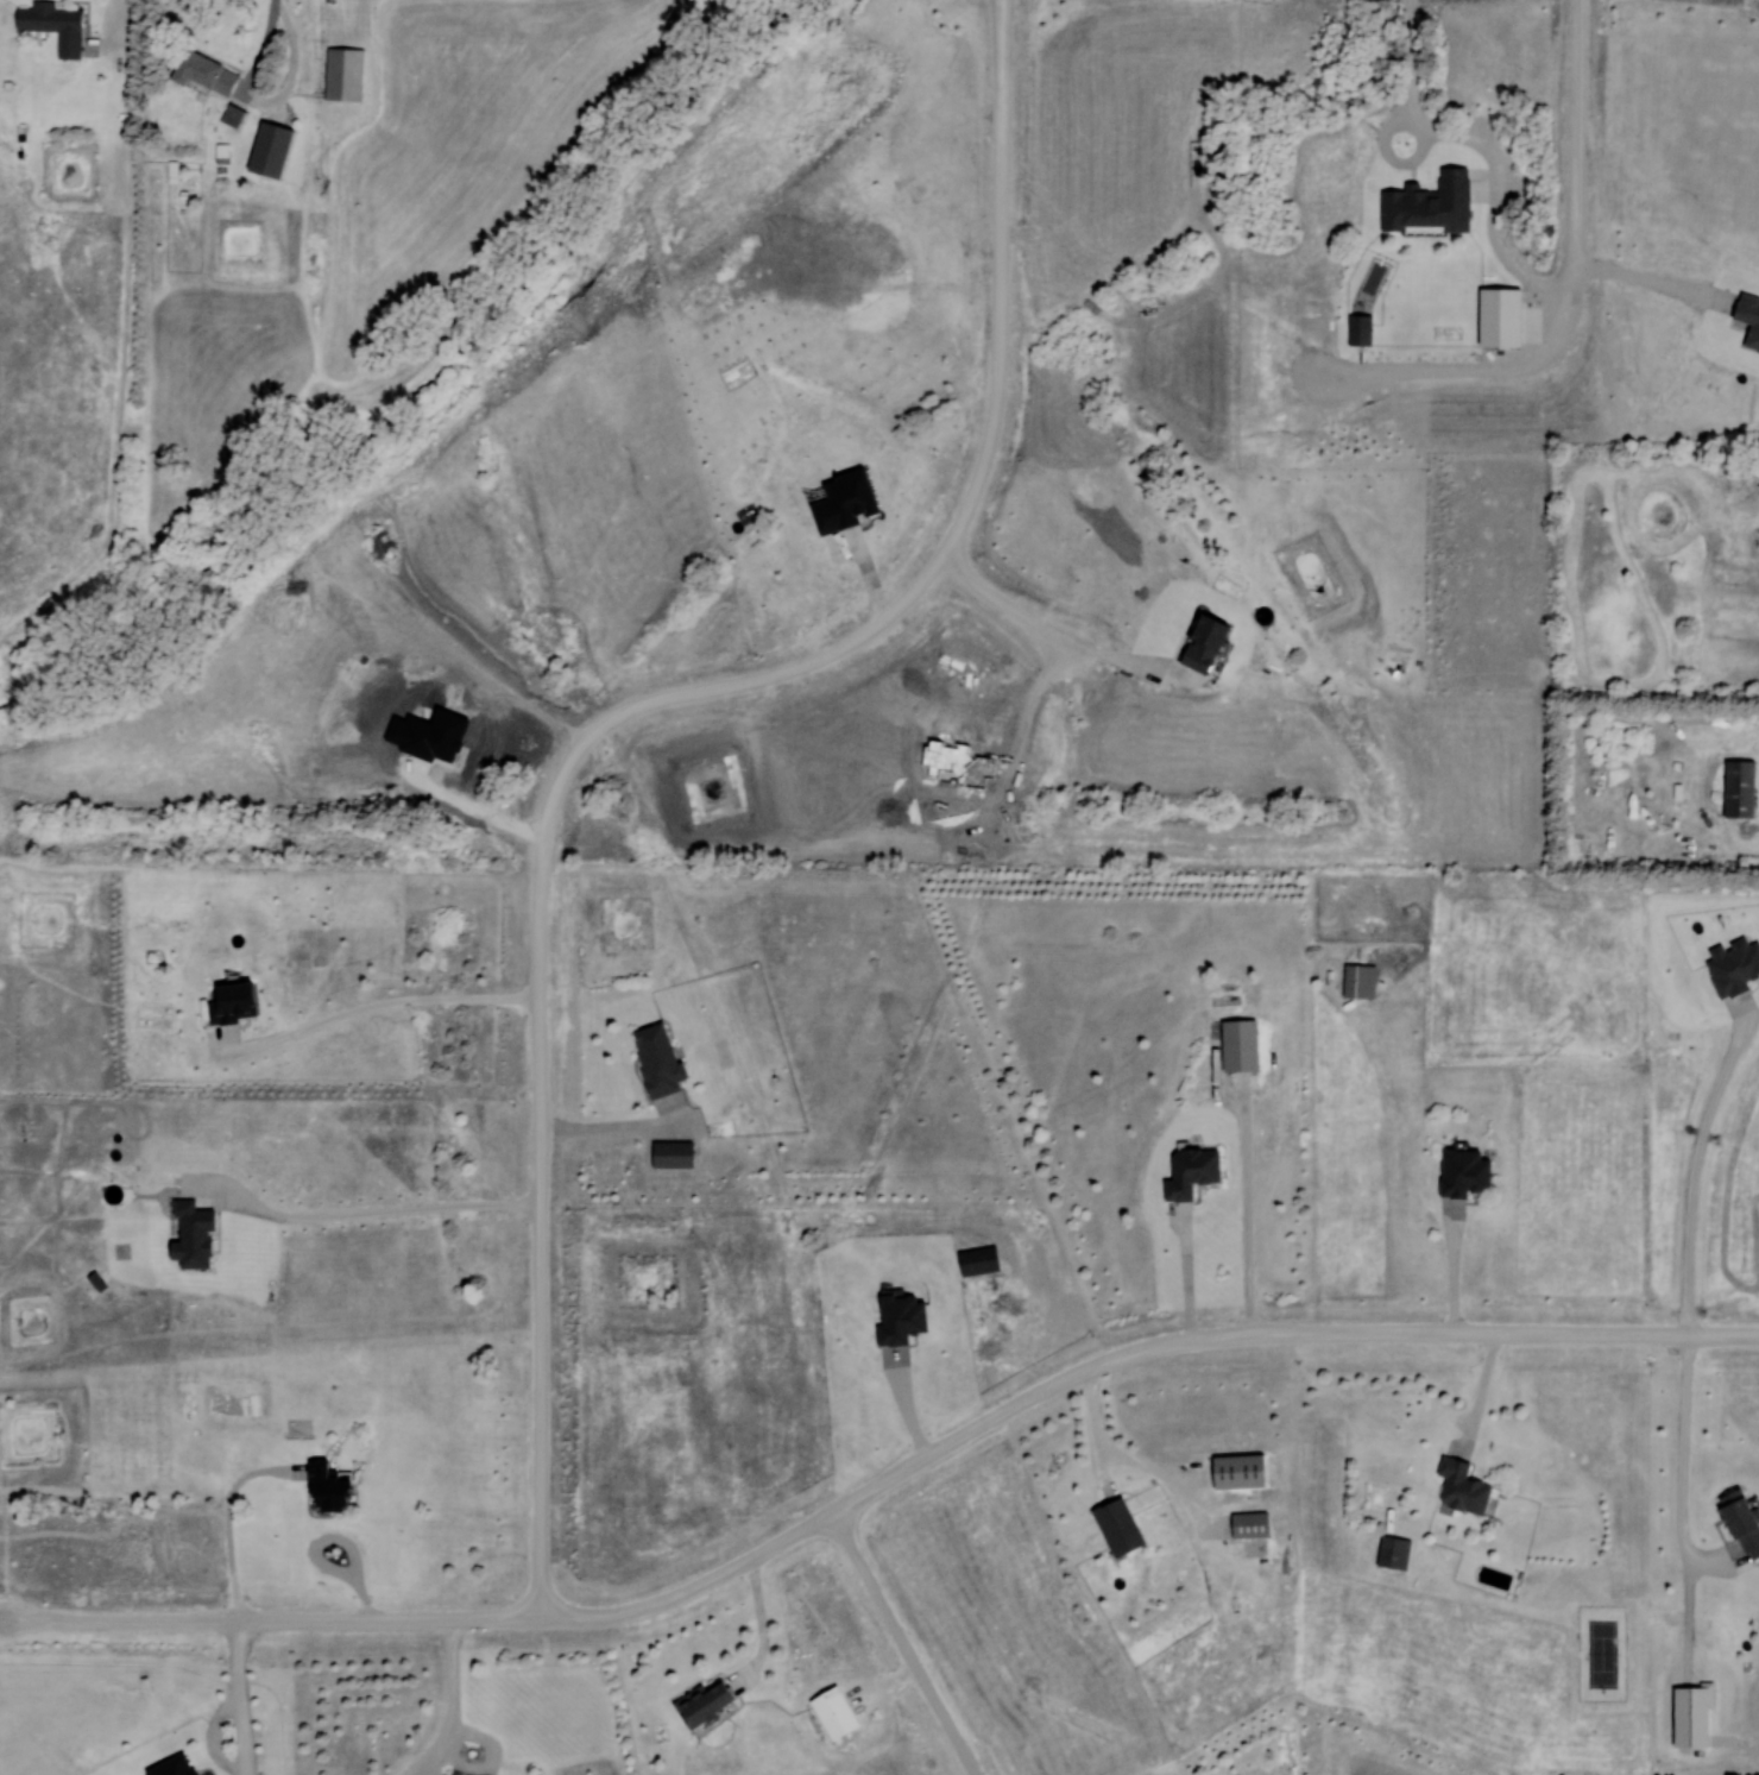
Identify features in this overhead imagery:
building: (50, 25)
road: (115, 30)
building: (200, 73)
building: (340, 73)
road: (269, 106)
building: (232, 117)
road: (1470, 143)
building: (264, 149)
road: (1634, 272)
road: (1561, 279)
road: (945, 546)
road: (1002, 603)
road: (1128, 663)
building: (1736, 788)
building: (1356, 981)
road: (374, 1007)
building: (1235, 1045)
building: (654, 1059)
road: (1676, 1169)
building: (1186, 1171)
building: (1459, 1171)
road: (370, 1215)
road: (1231, 1216)
road: (541, 1241)
building: (975, 1260)
road: (1455, 1270)
road: (1169, 1273)
building: (896, 1318)
road: (1483, 1395)
road: (1666, 1441)
road: (1112, 1449)
building: (1235, 1472)
road: (881, 1485)
building: (324, 1487)
building: (1457, 1487)
road: (229, 1516)
building: (1246, 1525)
building: (1112, 1527)
building: (1391, 1554)
road: (902, 1645)
building: (699, 1702)
road: (241, 1742)
road: (449, 1742)

